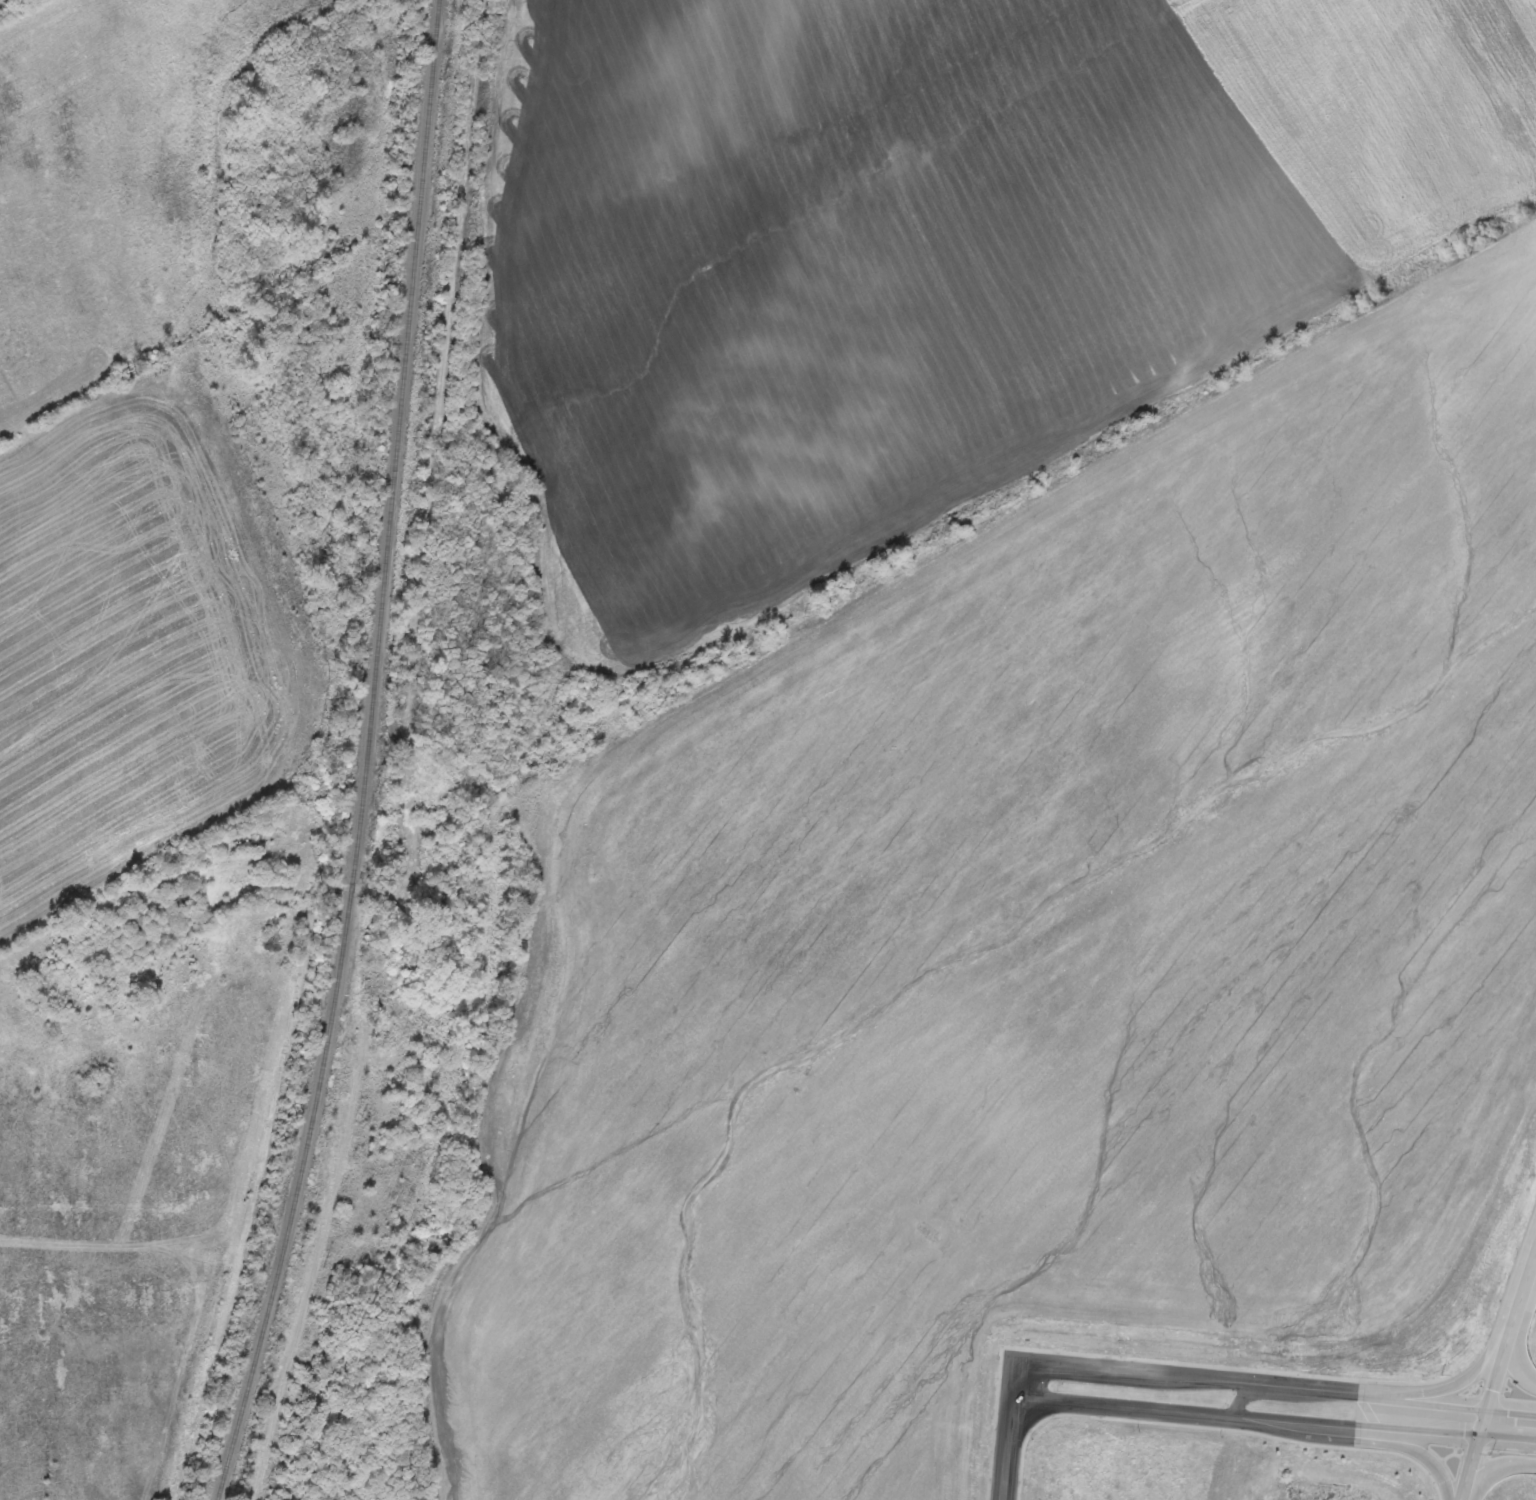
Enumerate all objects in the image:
railway: (369, 756)
building: (416, 825)
building: (278, 872)
building: (138, 929)
road: (326, 1248)
road: (1506, 1333)
road: (1515, 1339)
road: (1224, 1383)
road: (1219, 1419)
road: (1480, 1420)
road: (1013, 1438)
road: (1471, 1460)
road: (1522, 1467)
road: (1483, 1477)

